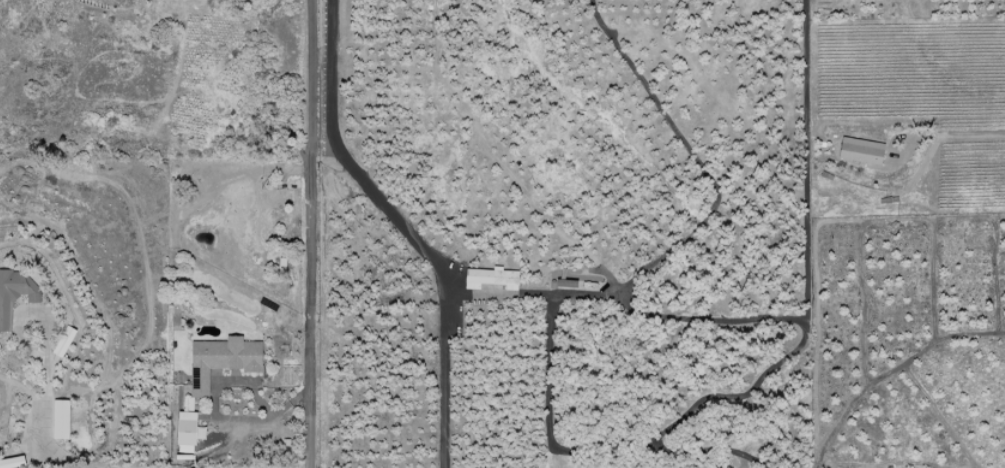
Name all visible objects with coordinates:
building: (866, 0)
road: (943, 134)
building: (861, 150)
road: (718, 186)
road: (404, 227)
road: (311, 234)
building: (492, 277)
building: (15, 292)
road: (804, 331)
building: (64, 341)
building: (222, 359)
road: (551, 364)
building: (61, 418)
road: (44, 428)
building: (186, 431)

